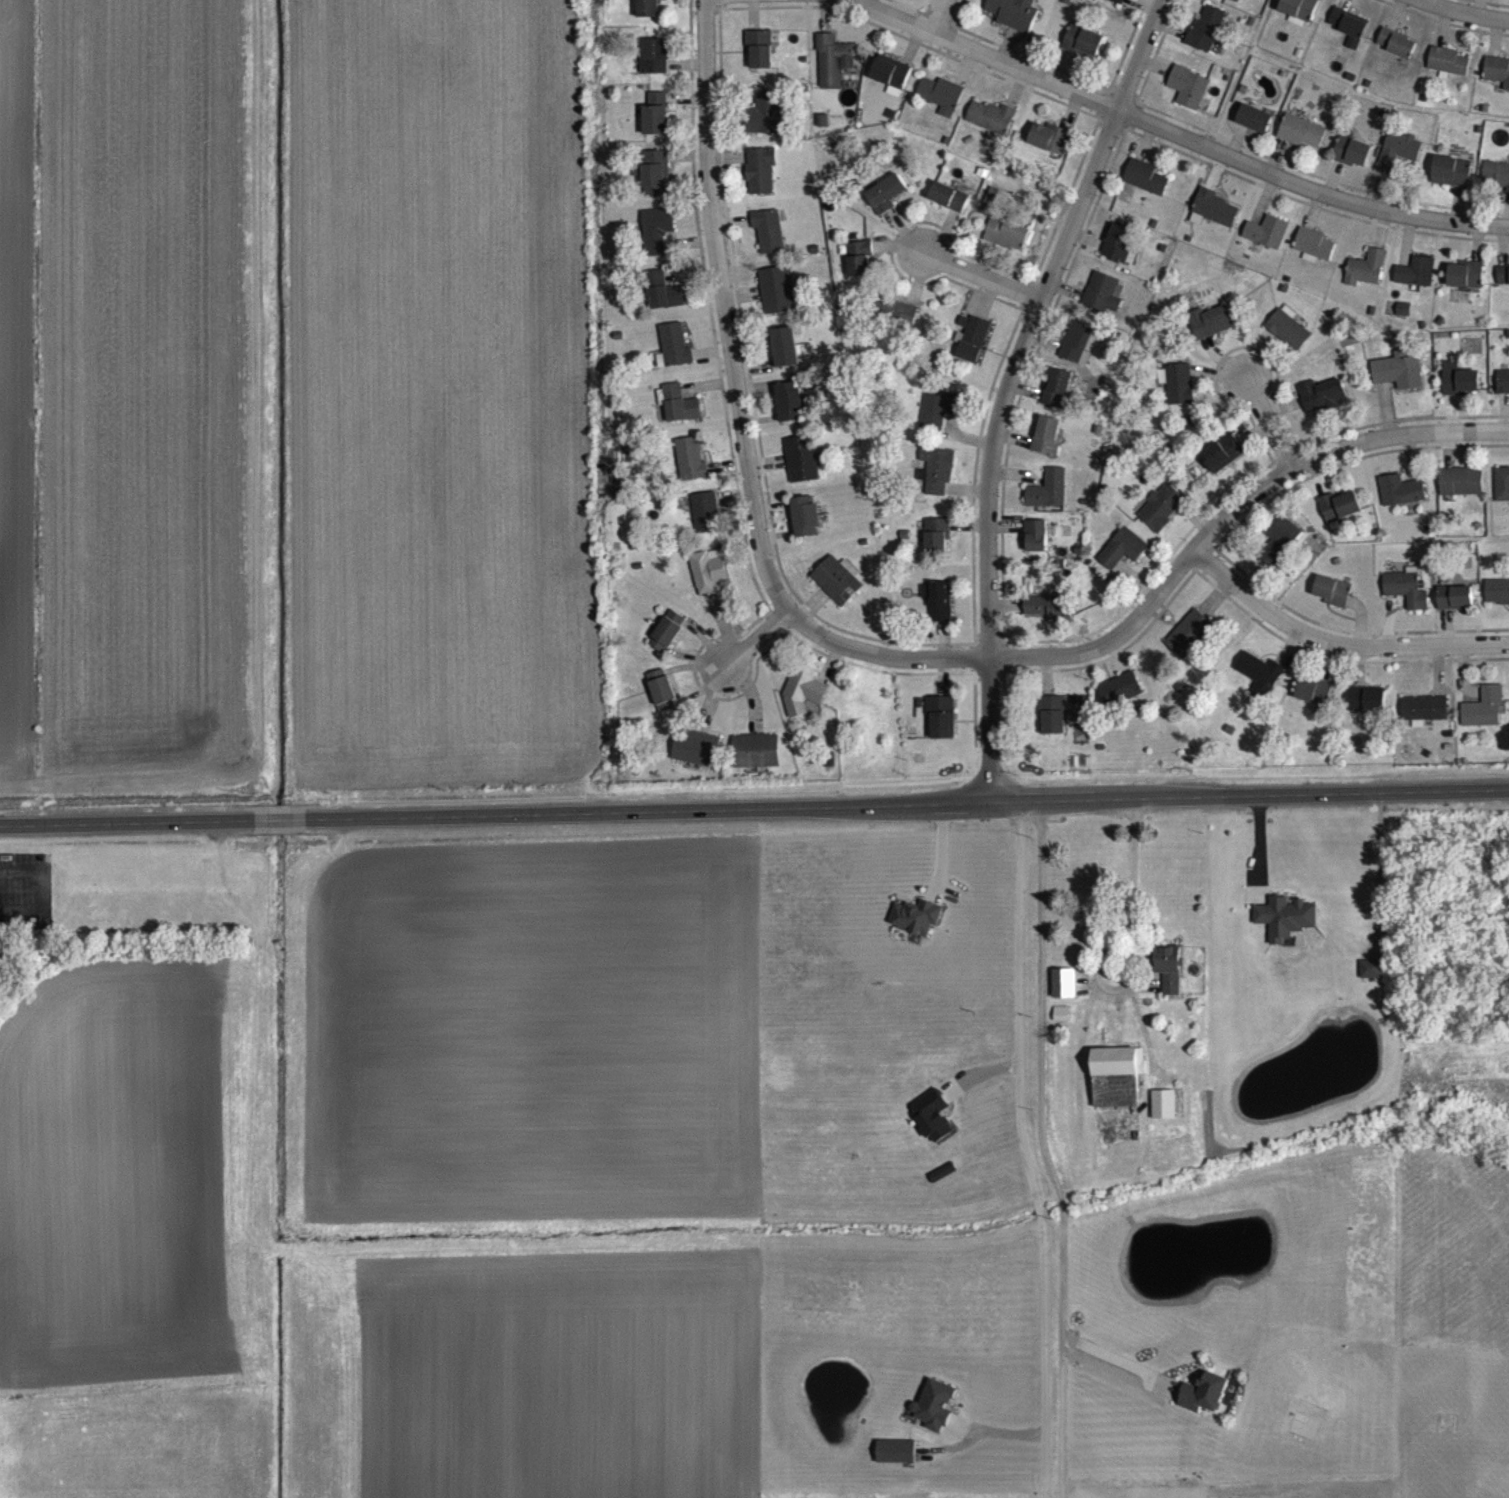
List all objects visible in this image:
building: (1111, 4)
building: (1235, 4)
road: (1464, 12)
building: (650, 13)
road: (938, 16)
building: (1297, 17)
building: (1013, 21)
building: (1348, 33)
building: (1206, 38)
building: (1083, 51)
building: (1396, 53)
building: (760, 59)
building: (656, 67)
building: (833, 71)
building: (1447, 72)
building: (1497, 81)
building: (892, 84)
building: (1188, 97)
building: (942, 105)
building: (656, 124)
building: (766, 124)
building: (991, 127)
building: (1254, 129)
road: (1176, 132)
building: (1301, 142)
building: (1049, 148)
building: (1399, 161)
building: (1353, 162)
building: (761, 180)
building: (655, 182)
building: (1451, 182)
building: (1495, 184)
building: (1145, 187)
building: (887, 204)
building: (949, 207)
building: (1216, 218)
building: (657, 240)
building: (769, 240)
building: (1267, 242)
building: (1006, 244)
building: (1118, 255)
building: (1313, 256)
building: (860, 269)
road: (982, 276)
building: (1366, 279)
building: (1416, 282)
building: (1465, 285)
building: (1503, 286)
building: (778, 300)
building: (664, 301)
building: (1101, 304)
road: (723, 309)
building: (898, 323)
building: (1210, 332)
building: (1288, 338)
building: (974, 349)
building: (1076, 353)
building: (675, 355)
building: (786, 357)
building: (1398, 381)
road: (1006, 386)
building: (1459, 390)
building: (1502, 392)
building: (1179, 394)
building: (1057, 398)
building: (1322, 405)
building: (790, 413)
building: (680, 415)
building: (940, 420)
road: (1268, 423)
building: (1046, 445)
building: (1222, 463)
building: (691, 469)
building: (801, 469)
building: (937, 480)
building: (1461, 492)
building: (1502, 495)
building: (1048, 500)
building: (1400, 501)
building: (1339, 516)
building: (1161, 517)
building: (705, 523)
building: (806, 527)
building: (936, 546)
building: (1035, 546)
building: (1279, 550)
building: (1123, 558)
building: (710, 581)
road: (1157, 589)
building: (838, 590)
building: (1406, 600)
building: (1332, 601)
building: (1497, 602)
building: (1455, 608)
building: (937, 611)
building: (1048, 617)
road: (754, 637)
building: (668, 641)
road: (1335, 641)
building: (1189, 644)
building: (1259, 685)
building: (1120, 700)
building: (662, 701)
building: (1314, 701)
building: (802, 702)
building: (1367, 709)
building: (1484, 718)
building: (1425, 719)
building: (1052, 725)
building: (941, 727)
building: (696, 758)
building: (756, 761)
road: (906, 802)
road: (279, 818)
road: (127, 821)
building: (915, 927)
building: (1286, 928)
road: (1107, 947)
building: (1169, 979)
building: (1372, 979)
building: (1064, 994)
building: (1164, 1114)
building: (932, 1126)
road: (1042, 1126)
road: (1024, 1148)
building: (1205, 1404)
building: (935, 1416)
building: (896, 1462)

